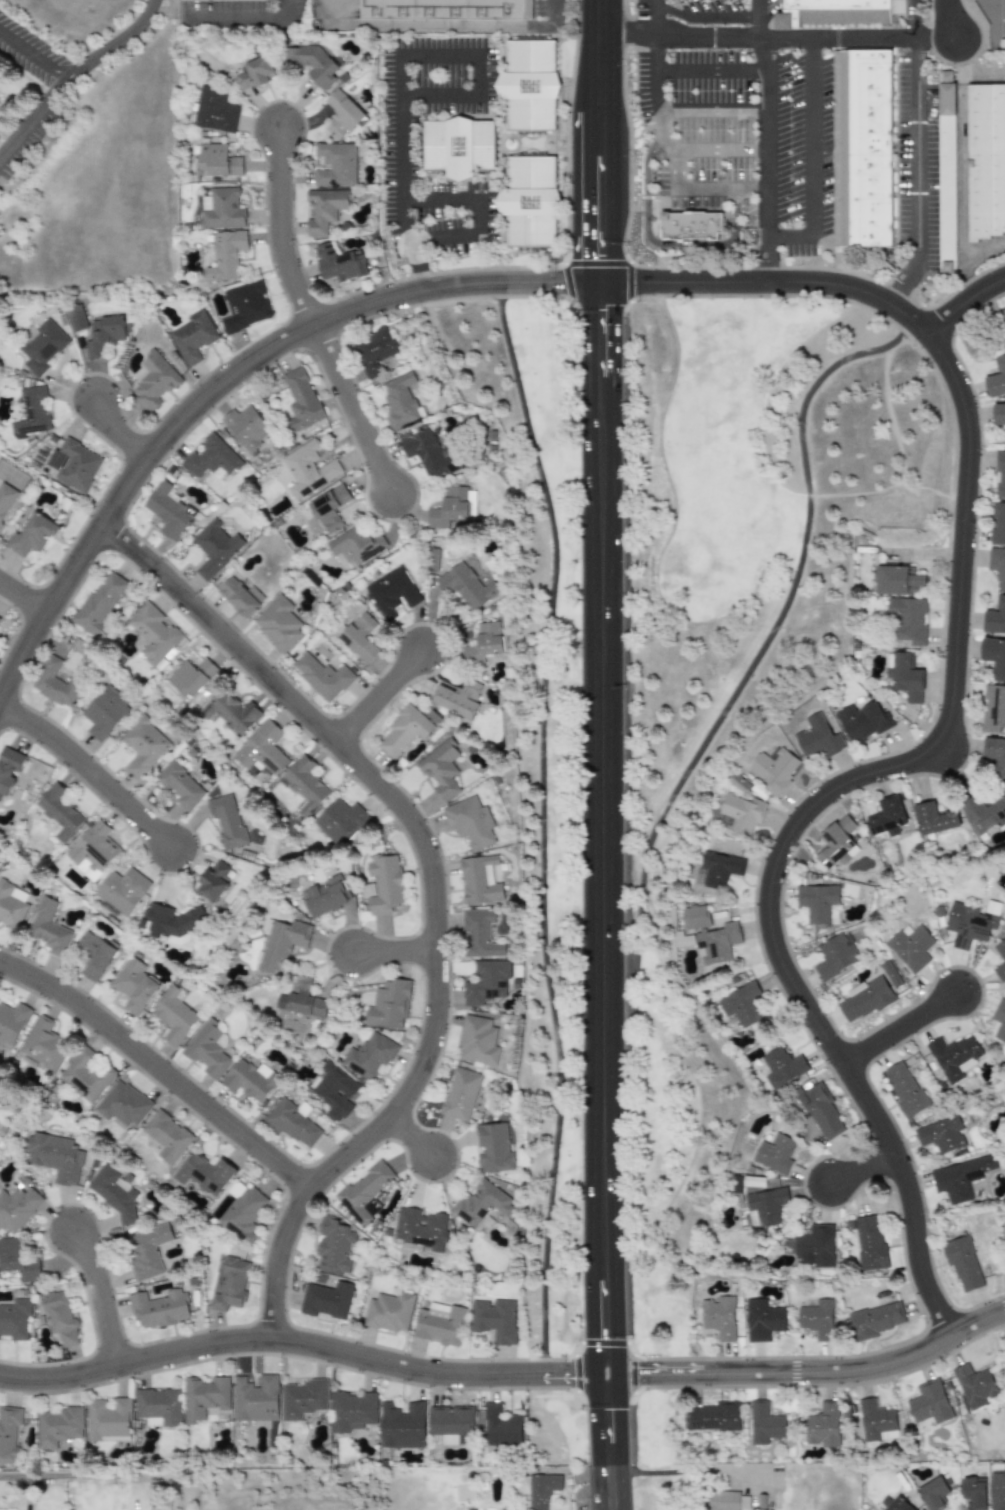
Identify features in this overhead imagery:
building: (447, 10)
building: (835, 13)
road: (708, 17)
road: (948, 19)
road: (761, 20)
road: (916, 20)
power substation: (994, 21)
road: (248, 22)
road: (995, 22)
road: (449, 26)
road: (776, 40)
road: (112, 44)
road: (35, 56)
road: (599, 59)
road: (657, 59)
building: (312, 64)
road: (398, 70)
road: (714, 72)
building: (253, 73)
road: (983, 74)
building: (530, 85)
building: (214, 110)
building: (341, 113)
road: (35, 120)
road: (664, 131)
building: (457, 146)
building: (865, 149)
road: (918, 151)
building: (987, 159)
building: (218, 160)
building: (334, 164)
road: (962, 166)
building: (948, 167)
road: (706, 190)
road: (599, 200)
building: (528, 202)
road: (479, 208)
building: (221, 209)
building: (323, 209)
building: (693, 225)
road: (283, 232)
road: (791, 238)
road: (668, 245)
road: (983, 254)
building: (225, 255)
traffic signals: (599, 256)
road: (766, 259)
building: (339, 263)
road: (509, 282)
traffic signals: (560, 282)
traffic signals: (599, 282)
traffic signals: (637, 282)
road: (769, 282)
road: (901, 283)
road: (962, 302)
building: (245, 306)
traffic signals: (599, 310)
building: (1003, 313)
building: (76, 317)
building: (104, 335)
building: (192, 336)
building: (42, 347)
road: (599, 348)
building: (373, 350)
building: (996, 379)
building: (153, 381)
building: (300, 400)
building: (398, 401)
road: (352, 408)
building: (31, 412)
building: (999, 413)
building: (245, 427)
road: (119, 434)
road: (160, 440)
building: (427, 453)
building: (211, 457)
building: (74, 465)
building: (307, 469)
building: (1001, 474)
building: (5, 499)
building: (451, 507)
building: (329, 508)
building: (169, 511)
park: (759, 519)
building: (998, 524)
building: (31, 535)
building: (356, 546)
building: (215, 548)
building: (433, 559)
building: (998, 565)
building: (900, 580)
building: (468, 583)
building: (393, 592)
road: (22, 595)
building: (240, 597)
building: (100, 603)
building: (0, 618)
building: (908, 619)
building: (995, 619)
building: (278, 623)
building: (153, 632)
building: (361, 637)
road: (766, 639)
building: (486, 643)
building: (994, 656)
building: (904, 675)
building: (190, 676)
building: (322, 676)
building: (54, 683)
road: (382, 696)
building: (460, 697)
building: (993, 708)
building: (105, 712)
building: (230, 712)
building: (862, 721)
building: (404, 730)
building: (818, 737)
building: (144, 745)
road: (937, 745)
building: (262, 750)
building: (995, 753)
building: (9, 768)
road: (91, 768)
building: (441, 769)
building: (775, 769)
building: (304, 784)
building: (180, 785)
building: (59, 811)
road: (802, 814)
building: (983, 814)
building: (740, 815)
building: (887, 817)
building: (933, 818)
building: (227, 820)
building: (341, 822)
building: (470, 822)
road: (541, 825)
road: (600, 834)
building: (838, 843)
building: (93, 847)
building: (720, 868)
building: (216, 880)
building: (480, 880)
building: (385, 884)
road: (435, 889)
building: (122, 890)
building: (327, 896)
building: (818, 903)
building: (11, 905)
building: (696, 917)
building: (969, 924)
building: (48, 929)
building: (480, 933)
building: (685, 939)
building: (283, 943)
building: (718, 944)
building: (912, 947)
road: (394, 951)
building: (1001, 954)
building: (94, 955)
building: (836, 955)
building: (891, 974)
building: (486, 982)
building: (134, 985)
building: (303, 999)
building: (866, 1000)
building: (389, 1005)
building: (744, 1005)
building: (175, 1017)
building: (999, 1020)
building: (12, 1022)
road: (898, 1028)
building: (478, 1040)
building: (45, 1044)
building: (208, 1049)
building: (955, 1056)
building: (368, 1057)
building: (783, 1066)
road: (159, 1067)
building: (86, 1075)
building: (250, 1080)
building: (905, 1089)
building: (334, 1090)
building: (460, 1093)
building: (124, 1104)
building: (821, 1112)
building: (291, 1123)
road: (411, 1134)
building: (941, 1134)
building: (168, 1136)
building: (494, 1148)
building: (776, 1153)
building: (56, 1156)
road: (861, 1169)
building: (205, 1173)
building: (959, 1177)
building: (115, 1190)
building: (364, 1191)
building: (481, 1203)
building: (766, 1206)
building: (18, 1208)
building: (243, 1213)
building: (420, 1230)
building: (870, 1242)
building: (816, 1246)
building: (334, 1248)
building: (146, 1250)
building: (19, 1259)
building: (963, 1264)
building: (228, 1283)
road: (101, 1295)
building: (325, 1299)
building: (158, 1308)
building: (389, 1311)
road: (602, 1314)
building: (60, 1317)
building: (720, 1317)
building: (15, 1318)
building: (495, 1319)
building: (817, 1319)
building: (875, 1319)
building: (763, 1320)
building: (440, 1324)
road: (300, 1342)
road: (859, 1368)
traffic signals: (638, 1373)
road: (652, 1373)
traffic signals: (569, 1374)
building: (974, 1385)
building: (203, 1397)
building: (255, 1398)
building: (303, 1398)
building: (929, 1402)
building: (157, 1406)
traffic signals: (605, 1409)
building: (351, 1410)
building: (714, 1416)
road: (605, 1419)
building: (875, 1419)
building: (108, 1420)
building: (765, 1423)
building: (402, 1425)
building: (450, 1425)
building: (823, 1425)
building: (59, 1426)
building: (501, 1426)
building: (8, 1432)
road: (677, 1471)
road: (64, 1473)
road: (609, 1487)
building: (539, 1489)
building: (997, 1490)
building: (973, 1492)
building: (933, 1493)
building: (725, 1500)
building: (897, 1505)

